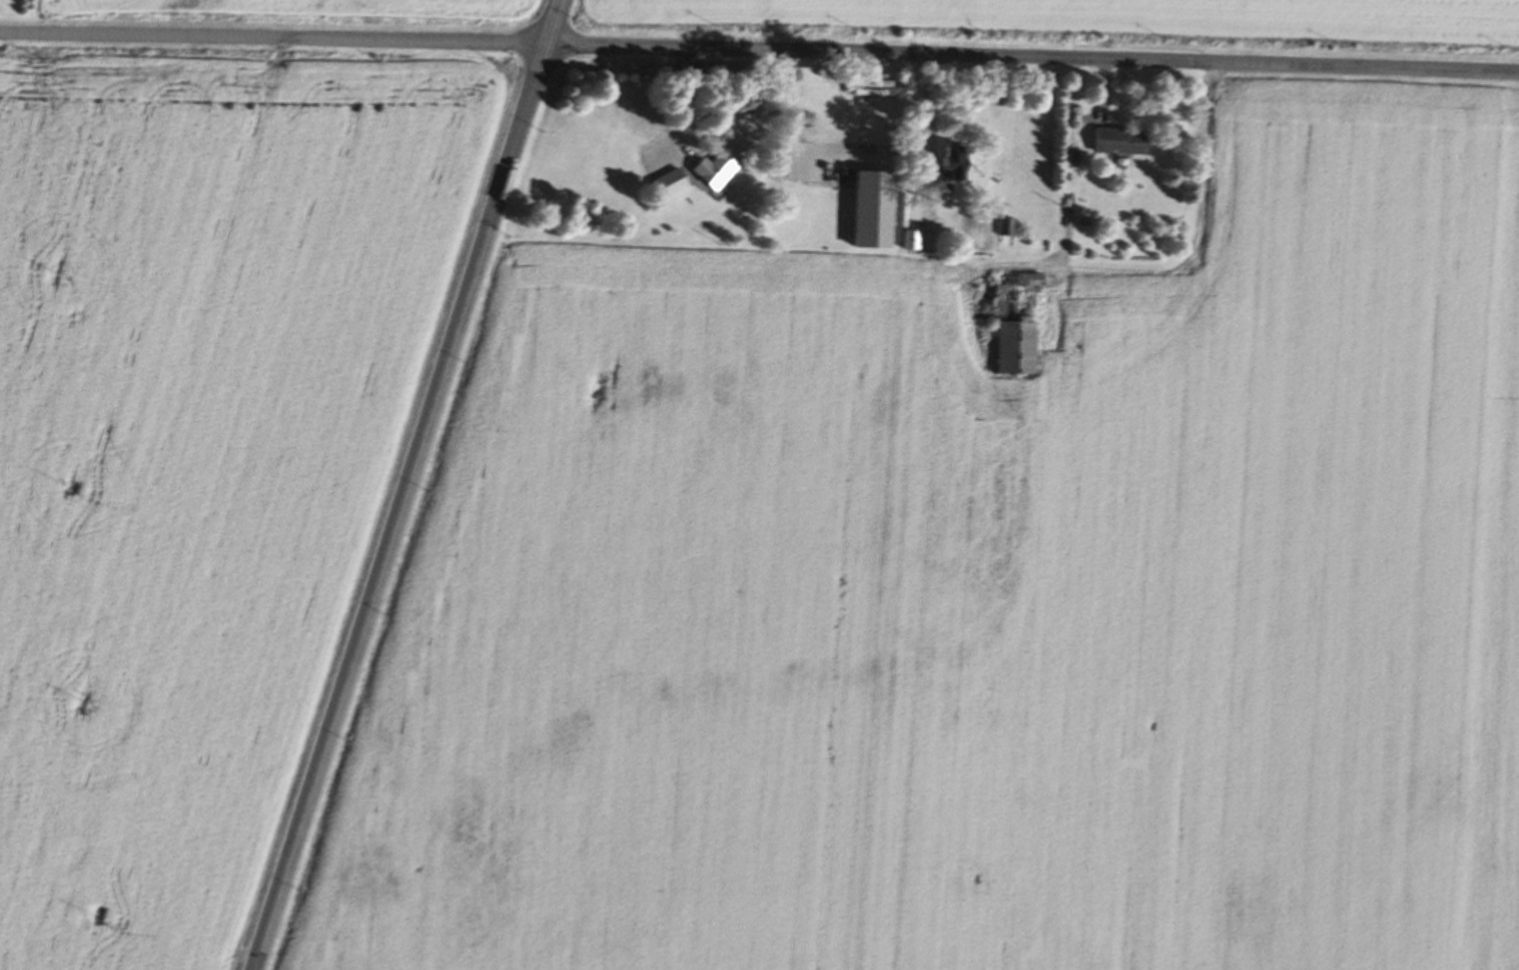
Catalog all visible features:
road: (759, 49)
building: (1111, 141)
building: (709, 164)
building: (938, 166)
building: (661, 183)
building: (999, 227)
road: (1174, 270)
building: (1002, 334)
road: (407, 485)

